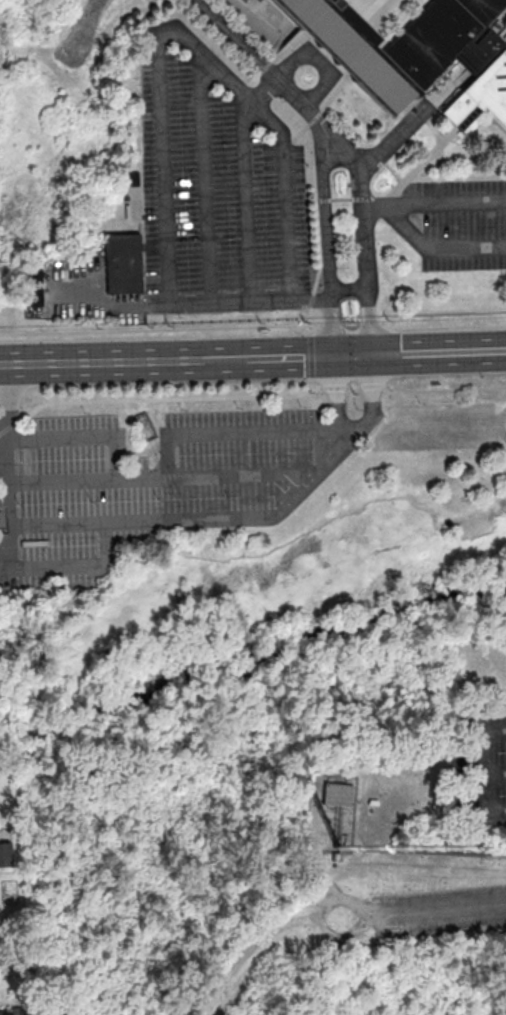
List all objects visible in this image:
road: (374, 8)
road: (158, 12)
road: (268, 16)
road: (331, 21)
road: (250, 28)
road: (341, 41)
road: (291, 47)
building: (352, 50)
road: (361, 50)
building: (455, 52)
road: (304, 58)
road: (256, 61)
road: (261, 75)
road: (224, 77)
road: (266, 88)
road: (337, 93)
road: (318, 116)
road: (412, 119)
road: (437, 135)
road: (366, 143)
road: (415, 169)
road: (164, 170)
road: (205, 178)
building: (133, 179)
road: (455, 179)
parking lot: (217, 187)
road: (316, 187)
road: (247, 199)
road: (347, 200)
road: (447, 205)
road: (375, 208)
road: (289, 218)
parking lot: (462, 225)
road: (363, 230)
road: (326, 238)
road: (437, 249)
building: (124, 265)
building: (31, 289)
road: (348, 289)
road: (312, 299)
road: (190, 304)
road: (443, 314)
road: (311, 319)
road: (352, 322)
road: (371, 322)
road: (332, 323)
road: (160, 328)
road: (438, 352)
road: (352, 355)
traffic signals: (372, 355)
road: (289, 356)
road: (312, 356)
traffic signals: (332, 356)
road: (226, 358)
road: (101, 361)
road: (312, 384)
road: (372, 385)
road: (335, 386)
road: (354, 386)
road: (445, 389)
road: (137, 390)
road: (12, 394)
road: (174, 397)
road: (35, 409)
road: (335, 415)
road: (368, 423)
road: (10, 425)
road: (244, 433)
road: (84, 438)
road: (4, 464)
road: (9, 466)
road: (165, 479)
parking lot: (151, 487)
road: (297, 494)
road: (0, 499)
road: (143, 523)
road: (6, 553)
road: (77, 565)
road: (486, 772)
building: (338, 793)
building: (6, 848)
road: (438, 909)
road: (319, 918)
road: (11, 958)
building: (15, 1014)

